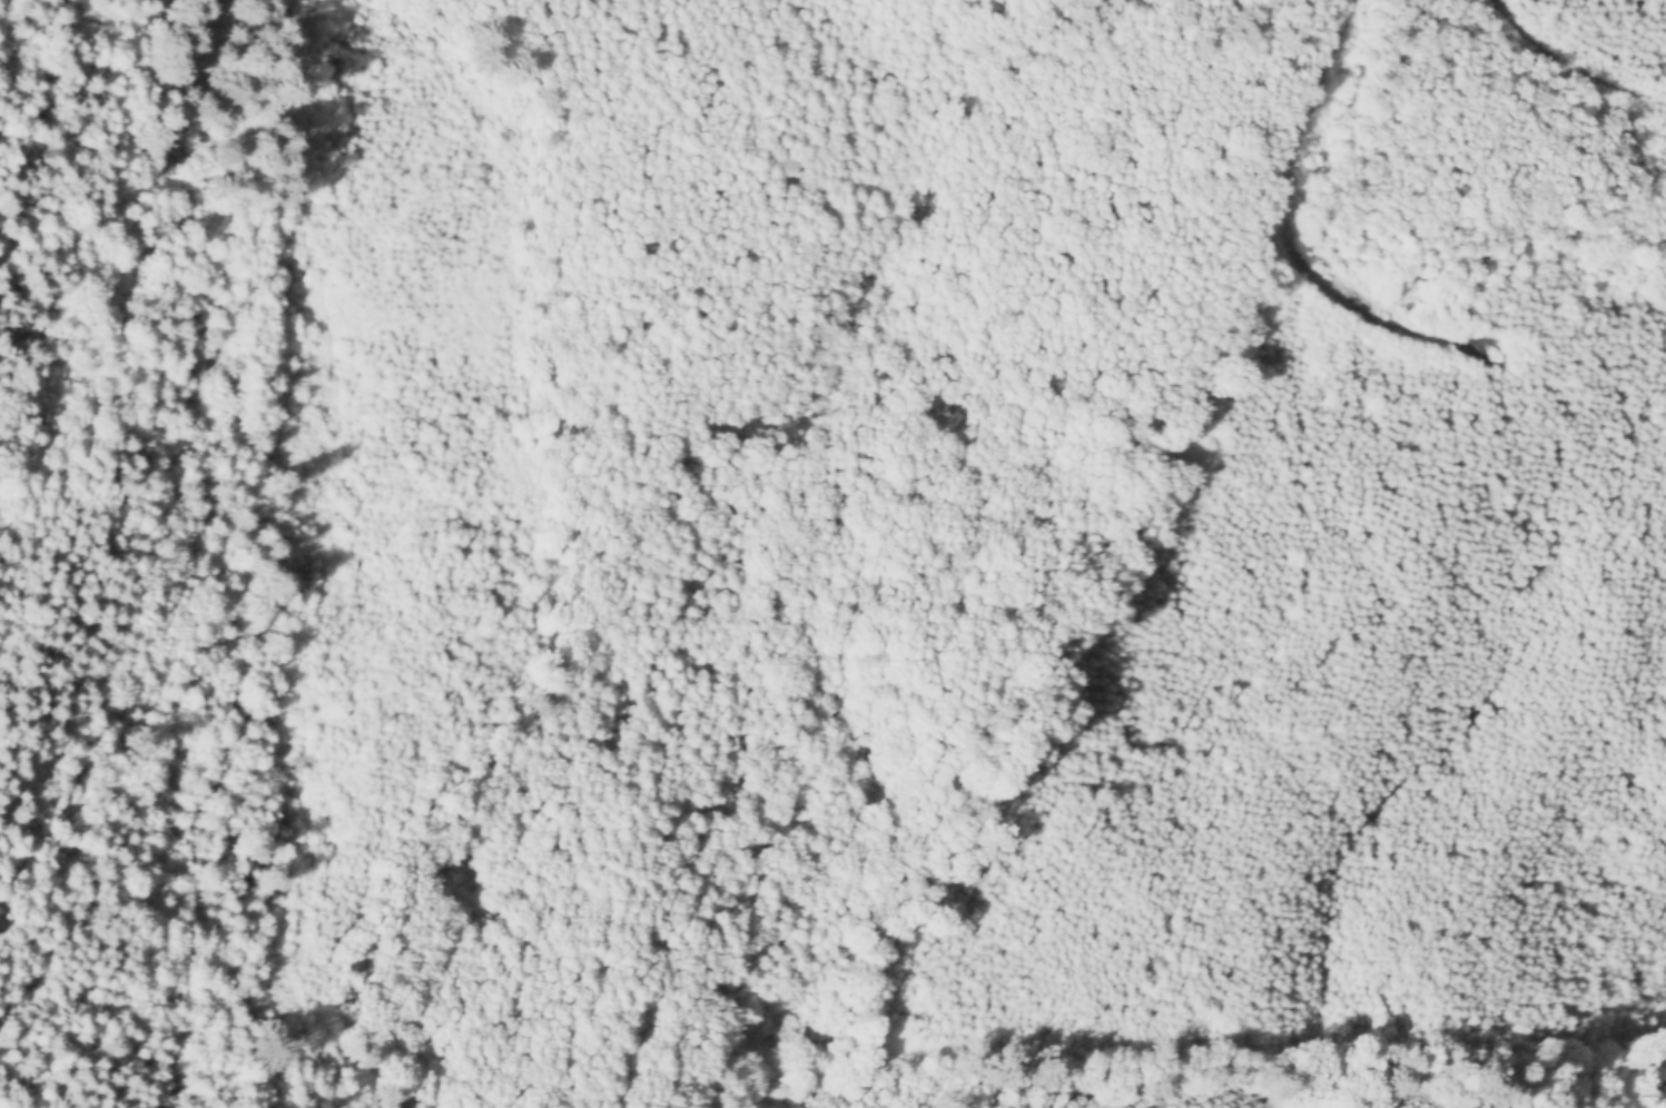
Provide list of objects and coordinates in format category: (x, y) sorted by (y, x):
road: (1567, 67)
road: (1288, 226)

